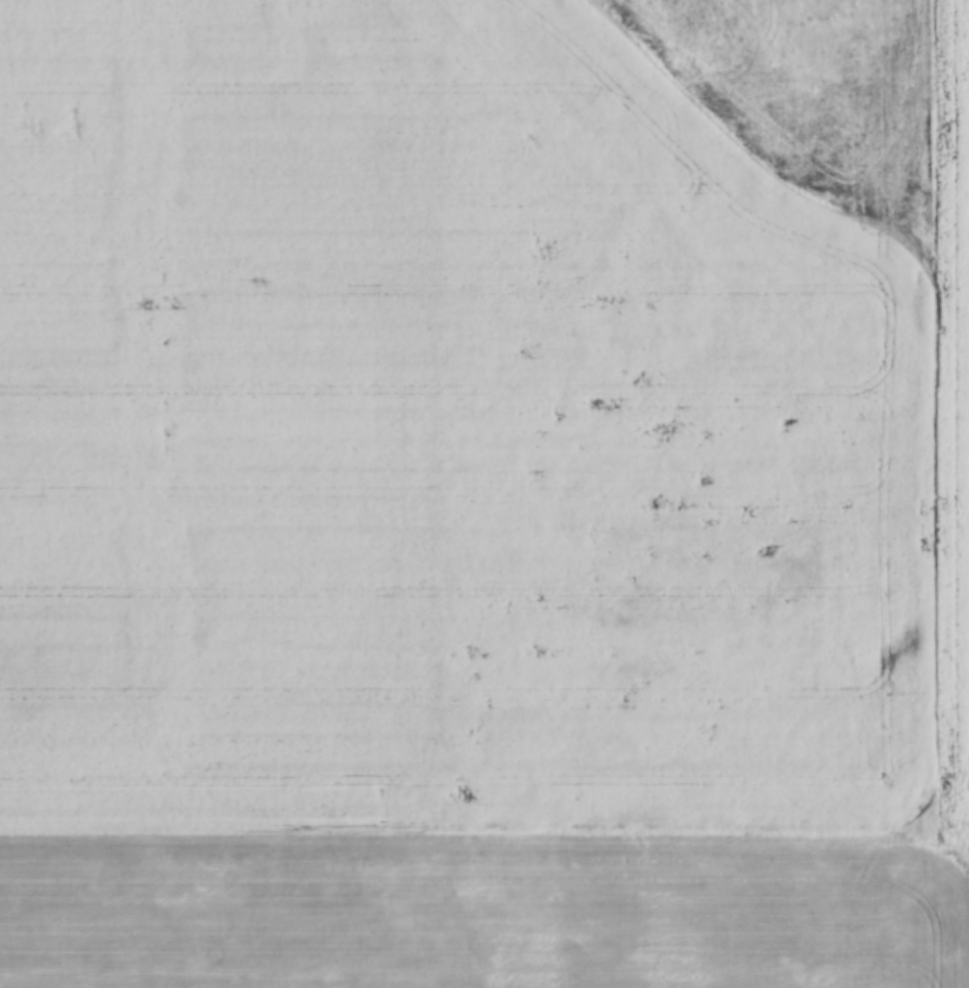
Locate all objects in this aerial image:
road: (939, 433)

